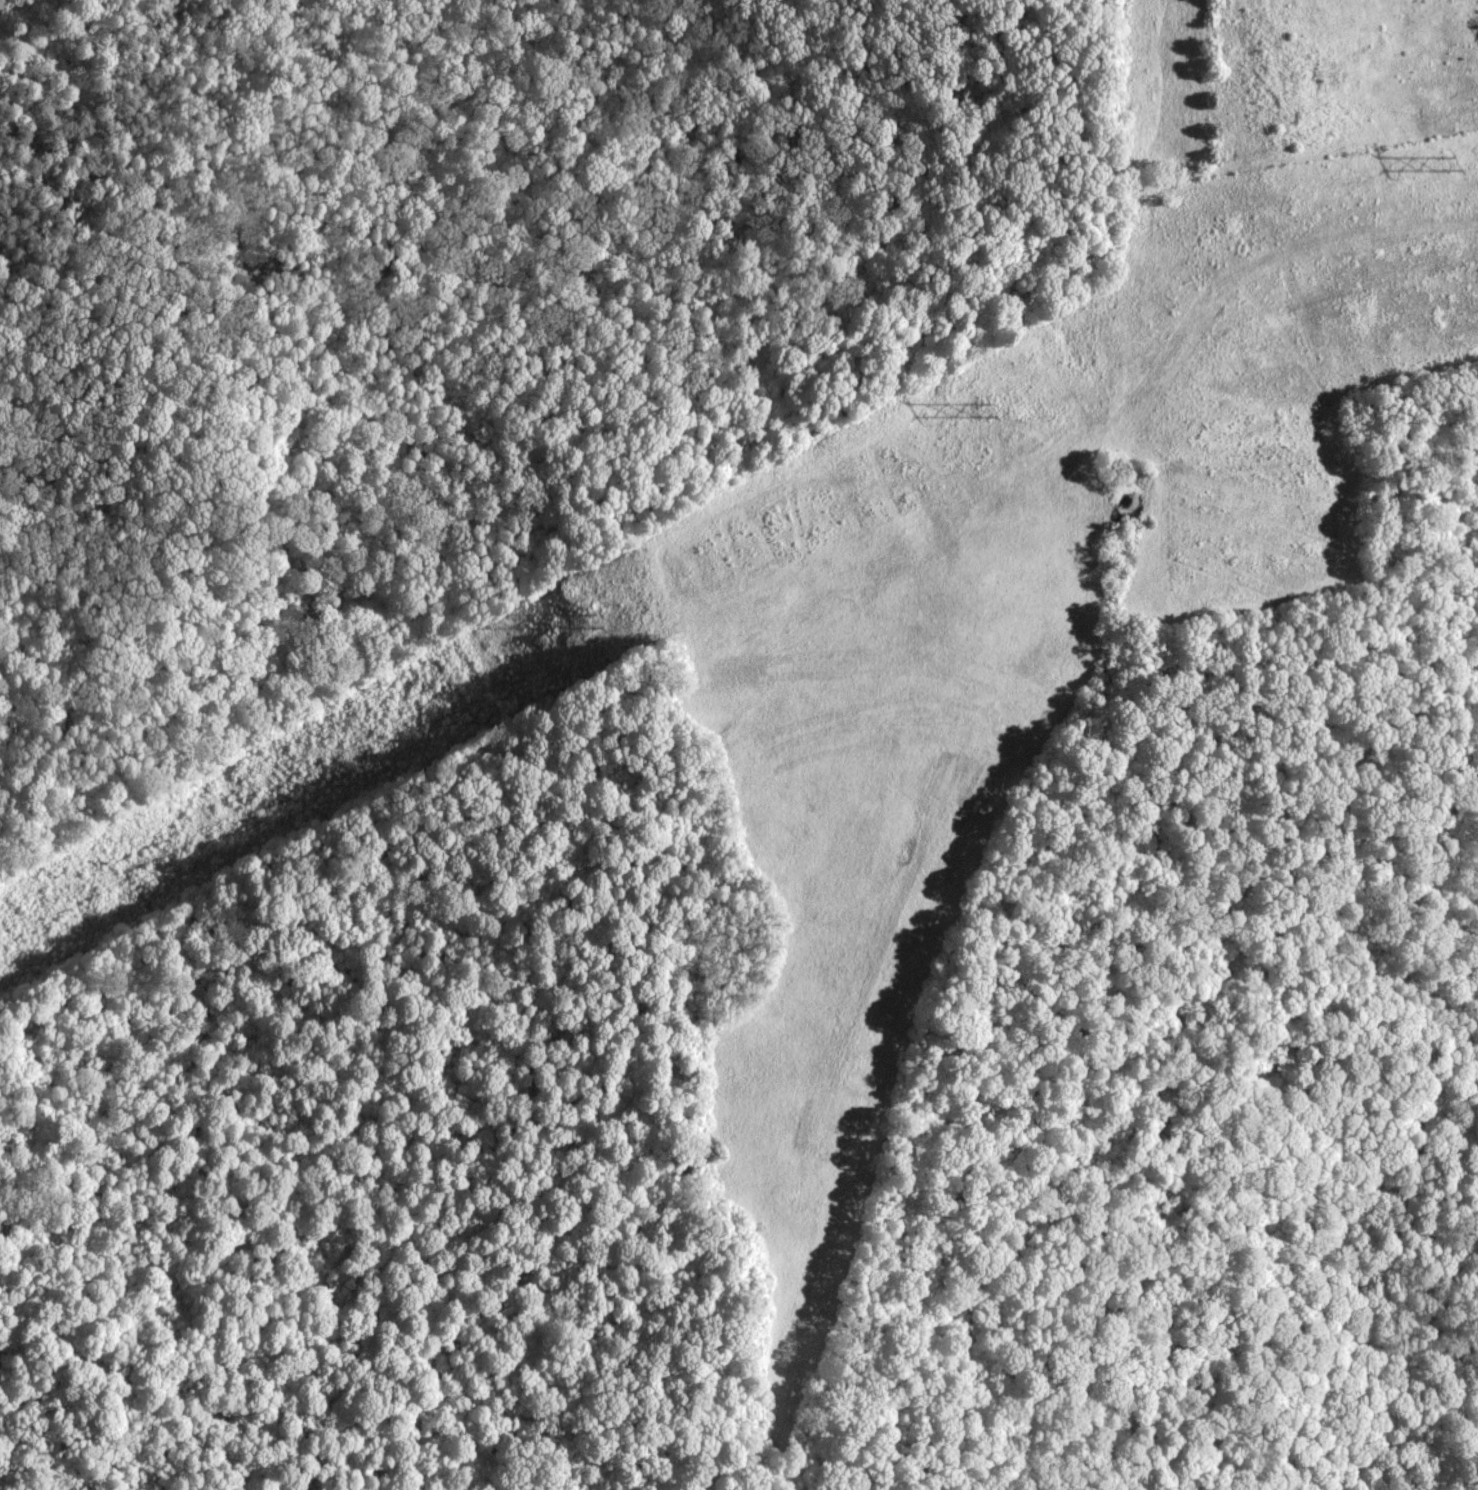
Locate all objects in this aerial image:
power tower: (1442, 161)
power tower: (980, 410)
power tower: (588, 622)

